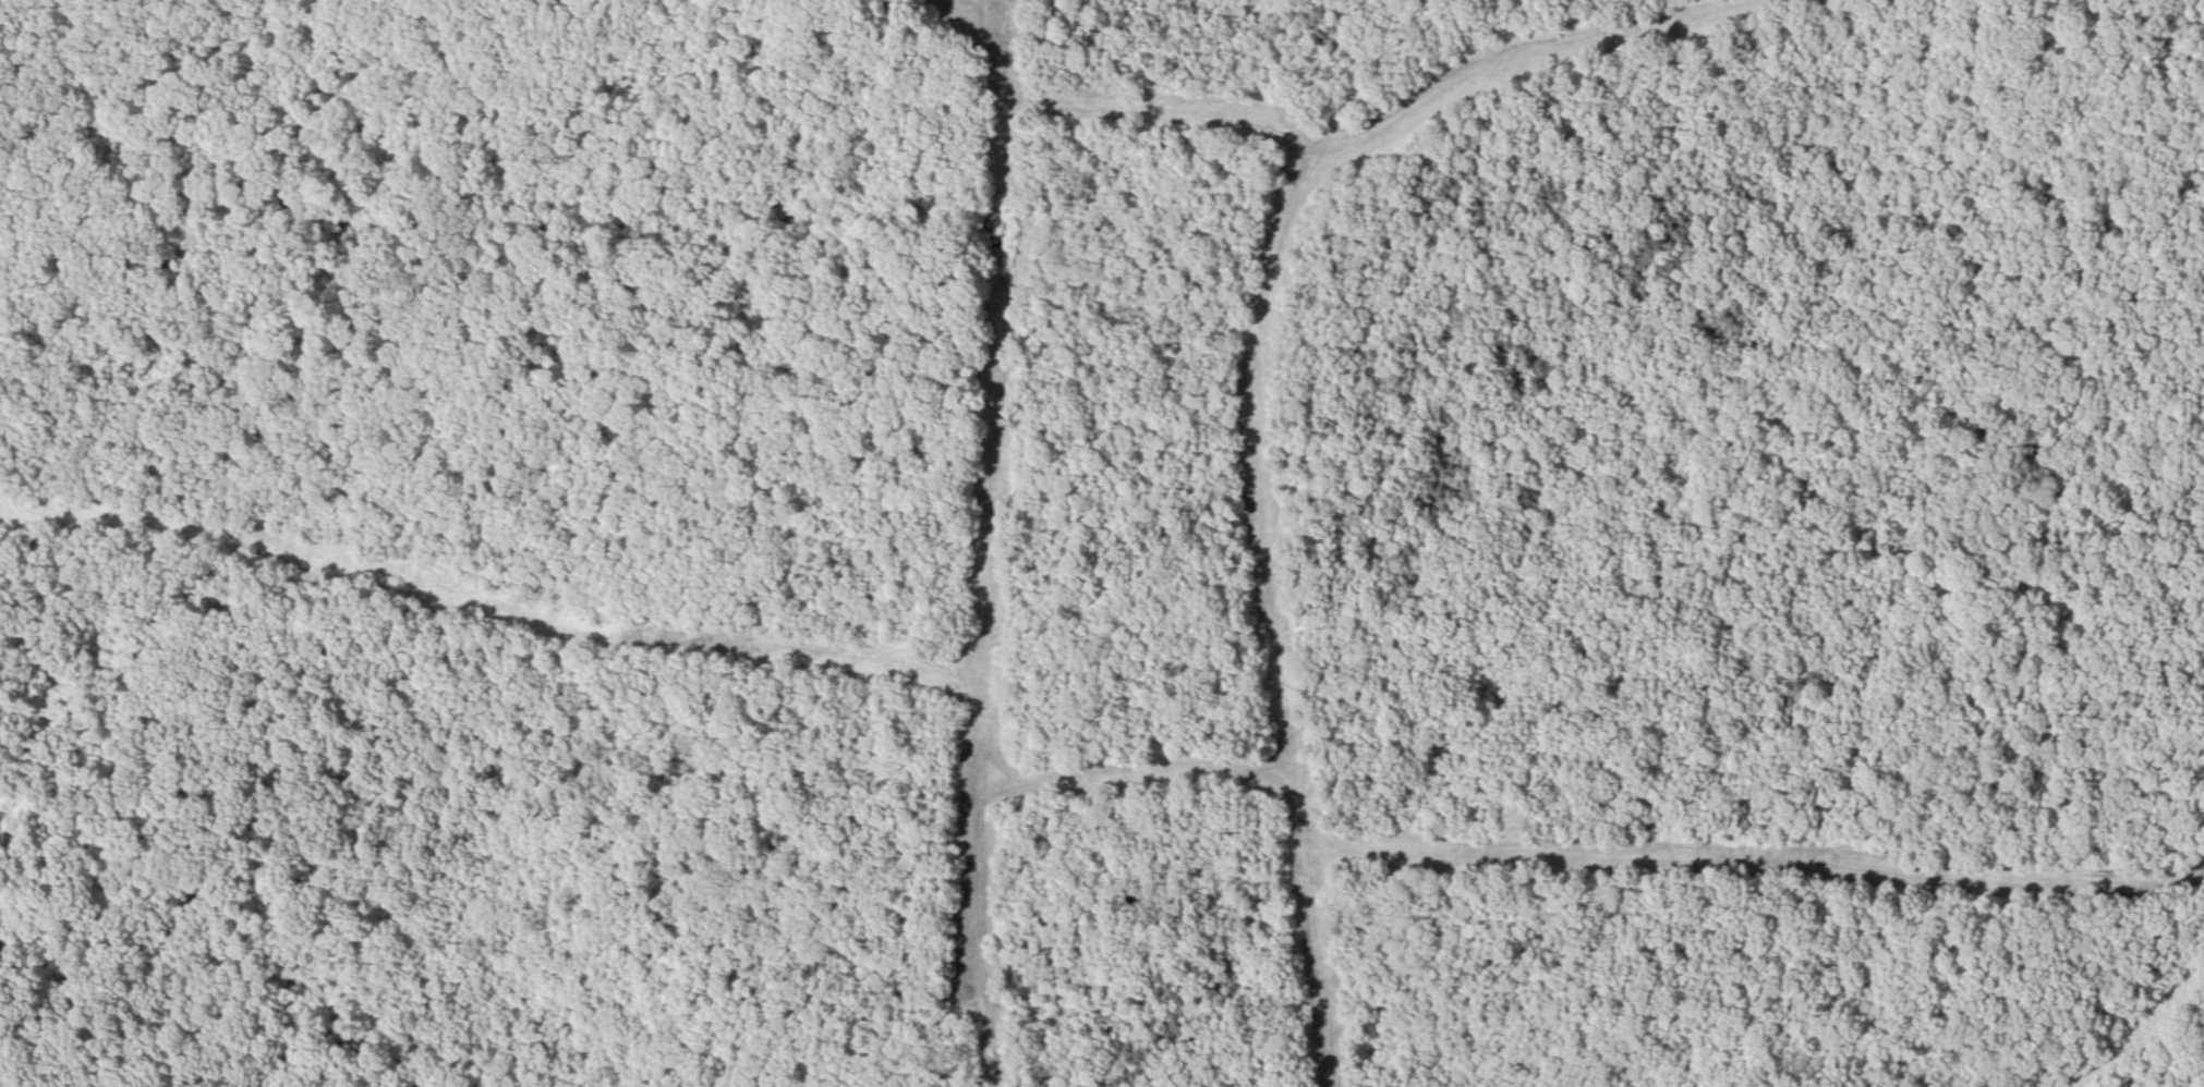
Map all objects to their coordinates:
road: (980, 542)

